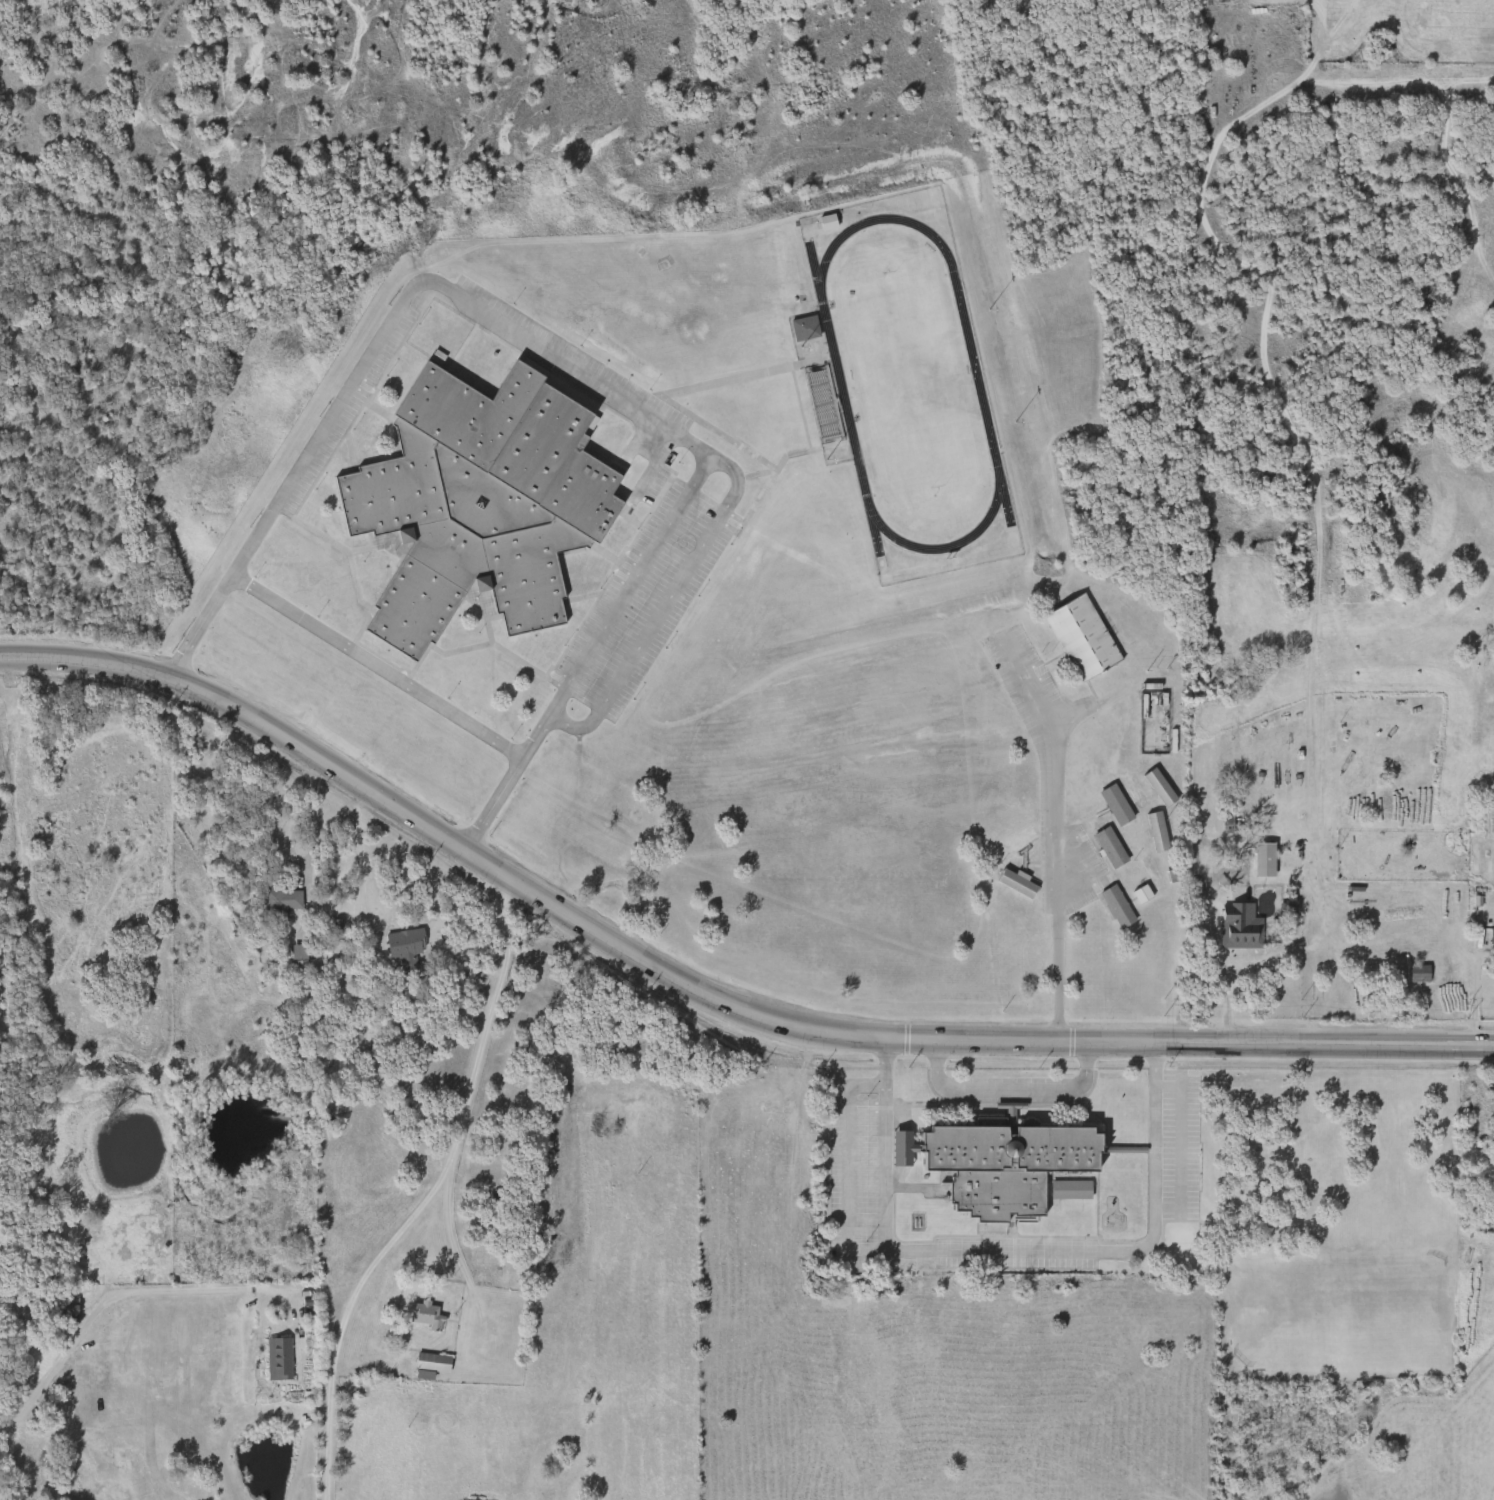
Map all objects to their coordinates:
road: (789, 323)
building: (801, 327)
road: (473, 328)
road: (423, 356)
road: (556, 363)
park: (905, 383)
stadium: (904, 385)
building: (819, 400)
road: (843, 441)
road: (806, 447)
road: (395, 450)
road: (762, 468)
road: (354, 469)
road: (763, 474)
building: (479, 499)
road: (625, 514)
road: (610, 554)
road: (350, 562)
parking lot: (659, 563)
road: (666, 596)
road: (590, 598)
road: (478, 621)
building: (1080, 637)
parking lot: (371, 665)
road: (372, 666)
road: (289, 839)
road: (1055, 839)
road: (357, 841)
building: (1107, 850)
building: (1262, 860)
building: (1140, 894)
building: (275, 905)
building: (1114, 908)
building: (1237, 926)
building: (1490, 936)
building: (403, 947)
building: (296, 964)
building: (1416, 973)
road: (704, 995)
road: (1225, 996)
parking lot: (1009, 1090)
road: (1003, 1091)
road: (1177, 1145)
building: (899, 1149)
road: (1142, 1153)
building: (1005, 1166)
parking lot: (856, 1173)
road: (839, 1175)
building: (1069, 1184)
road: (429, 1193)
building: (1053, 1193)
road: (451, 1242)
road: (1011, 1251)
road: (150, 1289)
building: (59, 1310)
building: (423, 1316)
building: (276, 1360)
building: (428, 1365)

